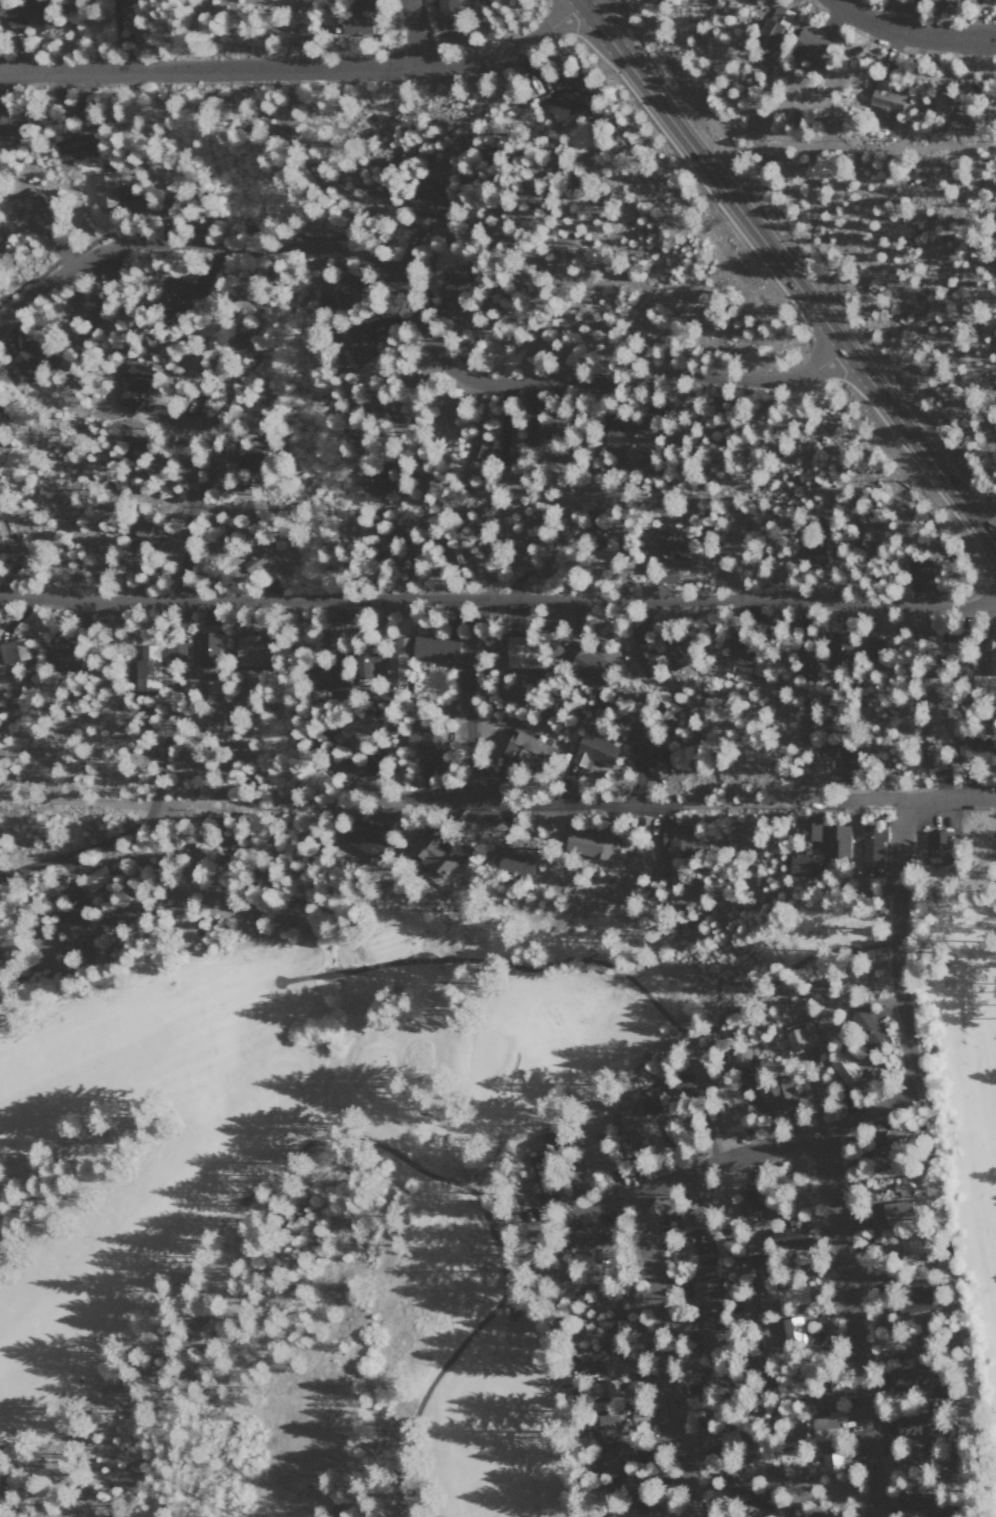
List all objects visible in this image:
building: (988, 0)
road: (581, 1)
building: (933, 1)
building: (969, 1)
building: (123, 2)
building: (951, 2)
building: (445, 13)
road: (894, 14)
building: (27, 17)
building: (357, 18)
building: (771, 29)
road: (911, 33)
road: (413, 34)
building: (807, 44)
road: (297, 70)
building: (885, 96)
building: (940, 103)
building: (567, 105)
building: (7, 126)
building: (73, 144)
building: (105, 190)
building: (421, 207)
building: (34, 210)
road: (271, 231)
road: (775, 258)
building: (335, 293)
building: (451, 294)
building: (179, 296)
building: (84, 304)
road: (415, 309)
building: (242, 342)
building: (357, 343)
building: (29, 359)
building: (192, 369)
building: (195, 402)
building: (536, 430)
building: (624, 442)
building: (131, 446)
building: (479, 449)
building: (246, 456)
building: (379, 476)
road: (984, 510)
building: (751, 522)
road: (185, 529)
building: (866, 529)
building: (595, 532)
road: (984, 532)
building: (812, 547)
building: (517, 548)
building: (673, 549)
building: (454, 553)
building: (395, 554)
building: (918, 568)
road: (497, 599)
building: (333, 621)
building: (837, 646)
building: (206, 648)
building: (434, 648)
building: (12, 650)
building: (250, 650)
building: (990, 651)
building: (520, 652)
building: (737, 652)
building: (65, 653)
building: (658, 656)
building: (397, 659)
building: (363, 660)
building: (586, 661)
building: (807, 662)
building: (146, 667)
building: (327, 676)
road: (467, 698)
building: (352, 731)
building: (425, 742)
building: (825, 747)
building: (525, 748)
building: (646, 749)
building: (975, 750)
building: (593, 751)
building: (933, 755)
building: (848, 758)
building: (346, 768)
road: (157, 789)
road: (894, 799)
road: (195, 801)
road: (507, 803)
road: (711, 804)
building: (809, 828)
building: (674, 837)
building: (361, 838)
building: (937, 839)
building: (837, 840)
building: (588, 842)
building: (872, 845)
building: (433, 852)
building: (515, 857)
building: (803, 861)
building: (95, 878)
building: (72, 924)
road: (908, 933)
road: (593, 961)
road: (332, 974)
road: (300, 979)
road: (901, 993)
building: (866, 1025)
building: (800, 1037)
building: (737, 1057)
building: (843, 1067)
building: (677, 1082)
building: (781, 1093)
building: (720, 1099)
building: (649, 1101)
building: (730, 1125)
building: (627, 1130)
park: (421, 1134)
building: (876, 1138)
building: (600, 1158)
building: (535, 1164)
building: (882, 1167)
road: (679, 1174)
building: (900, 1186)
building: (539, 1188)
building: (750, 1199)
building: (890, 1212)
building: (691, 1216)
building: (589, 1234)
building: (786, 1234)
building: (701, 1241)
building: (909, 1245)
building: (582, 1256)
road: (506, 1259)
building: (705, 1276)
building: (631, 1294)
building: (789, 1295)
building: (921, 1296)
building: (708, 1306)
building: (603, 1322)
road: (853, 1325)
building: (792, 1329)
building: (708, 1339)
road: (665, 1353)
building: (589, 1360)
building: (712, 1376)
building: (917, 1377)
building: (605, 1391)
building: (824, 1394)
building: (909, 1423)
building: (606, 1424)
building: (826, 1425)
building: (729, 1439)
building: (612, 1459)
building: (830, 1462)
building: (944, 1465)
building: (731, 1476)
building: (626, 1489)
building: (753, 1501)
building: (923, 1507)
building: (818, 1515)
building: (597, 1516)

